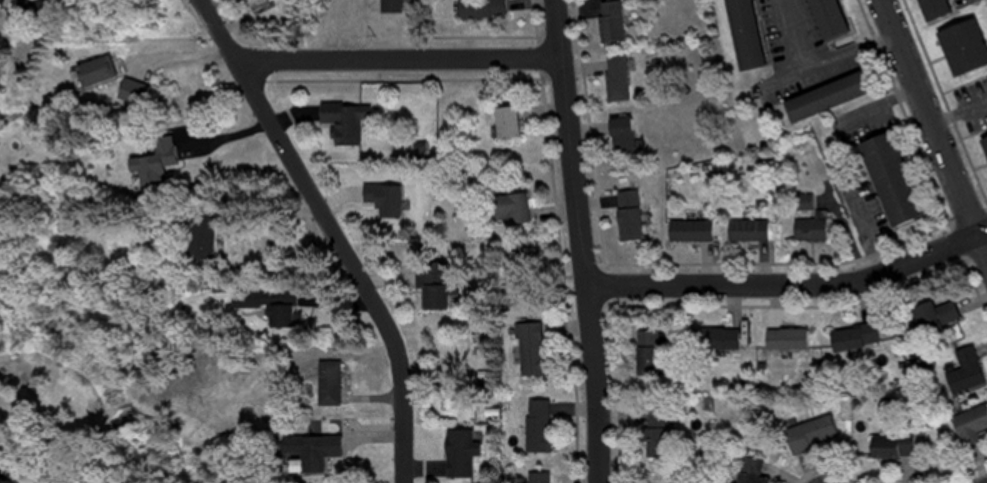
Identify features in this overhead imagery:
building: (12, 3)
building: (388, 6)
building: (479, 8)
building: (927, 9)
building: (823, 18)
building: (608, 21)
building: (741, 34)
building: (960, 48)
road: (398, 61)
building: (89, 73)
building: (614, 79)
building: (827, 95)
road: (931, 117)
building: (502, 123)
building: (342, 125)
building: (618, 135)
road: (568, 144)
building: (983, 149)
building: (151, 168)
building: (887, 180)
building: (507, 209)
building: (626, 216)
building: (807, 230)
road: (336, 231)
building: (687, 231)
building: (745, 231)
building: (186, 232)
road: (983, 233)
road: (983, 245)
building: (429, 286)
road: (785, 290)
building: (276, 317)
building: (932, 317)
building: (851, 338)
building: (714, 339)
building: (784, 339)
building: (528, 350)
building: (646, 353)
building: (963, 371)
building: (325, 384)
road: (585, 386)
building: (968, 424)
building: (534, 427)
building: (652, 433)
building: (809, 434)
building: (891, 446)
building: (305, 453)
building: (457, 453)
building: (749, 471)
building: (536, 478)

